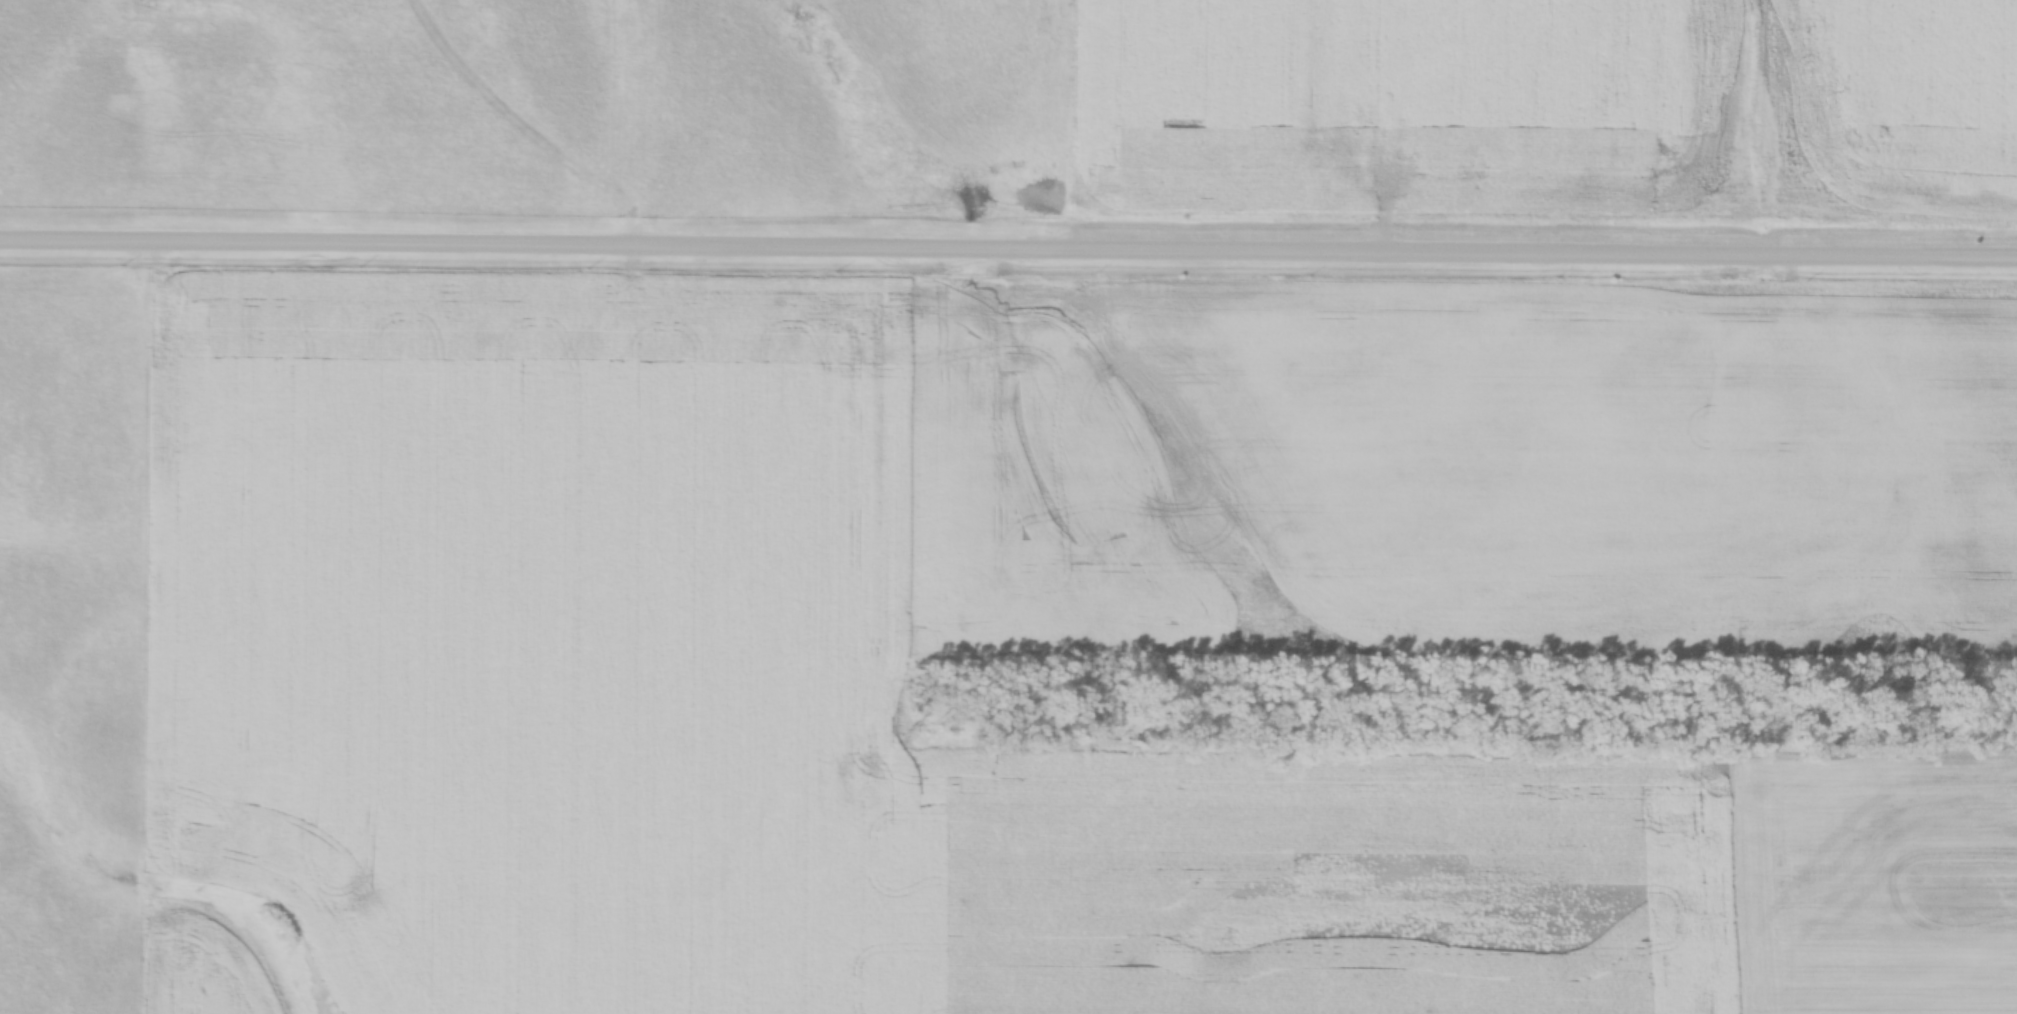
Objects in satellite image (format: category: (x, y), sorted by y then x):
road: (1008, 244)
crop: (1084, 482)

